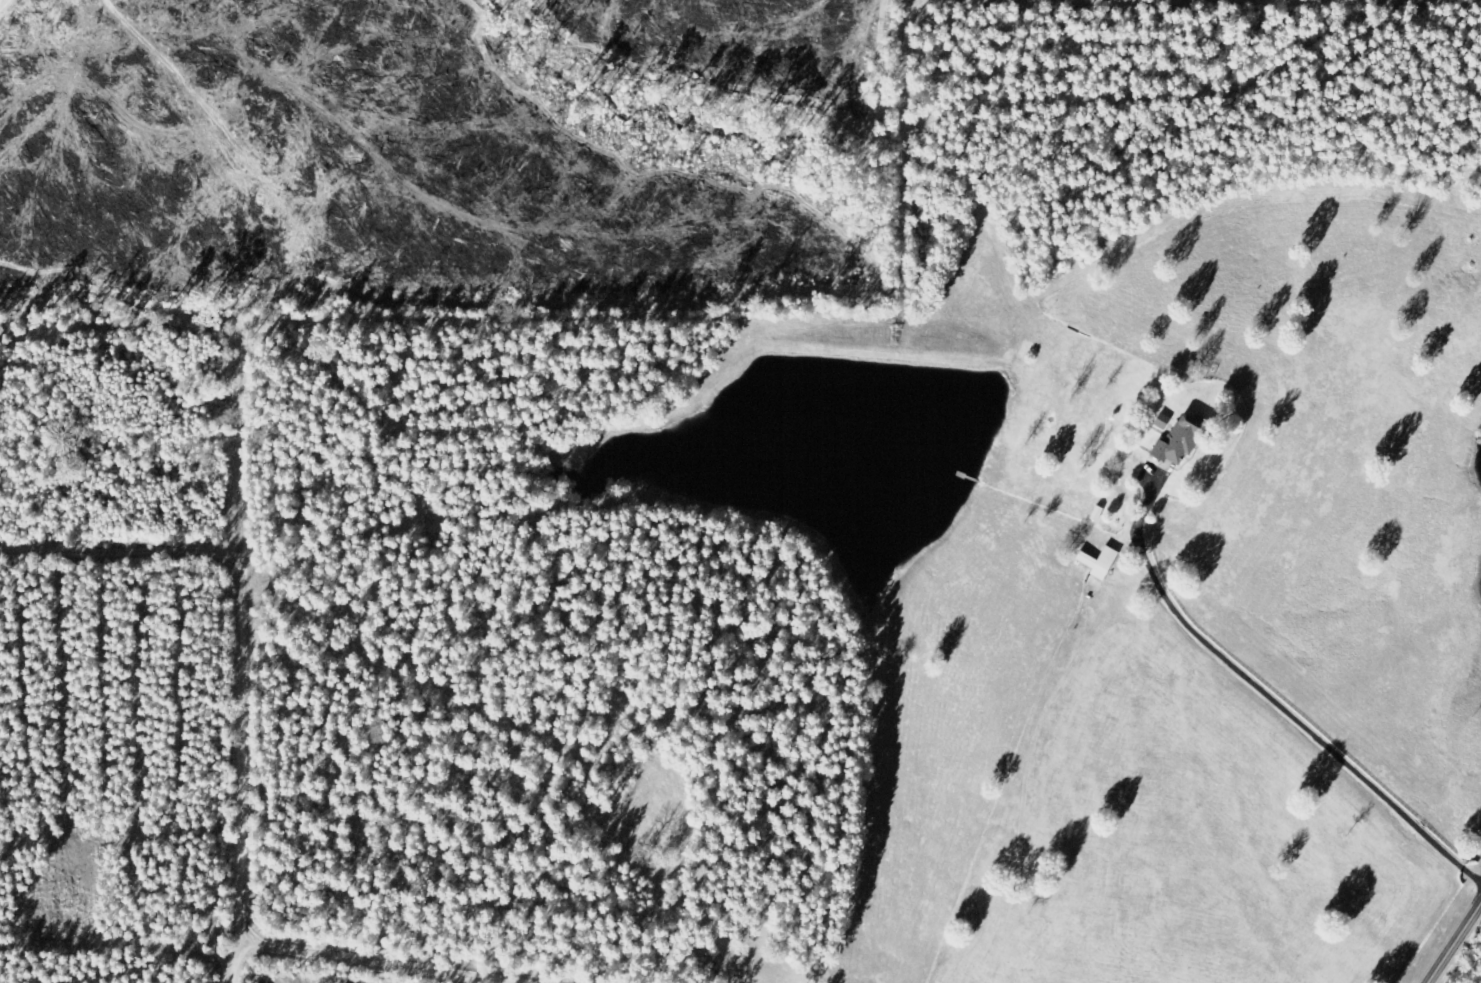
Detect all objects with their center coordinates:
building: (1165, 421)
building: (1182, 440)
road: (210, 656)
road: (1270, 696)
road: (1455, 945)
road: (227, 948)
road: (413, 952)

